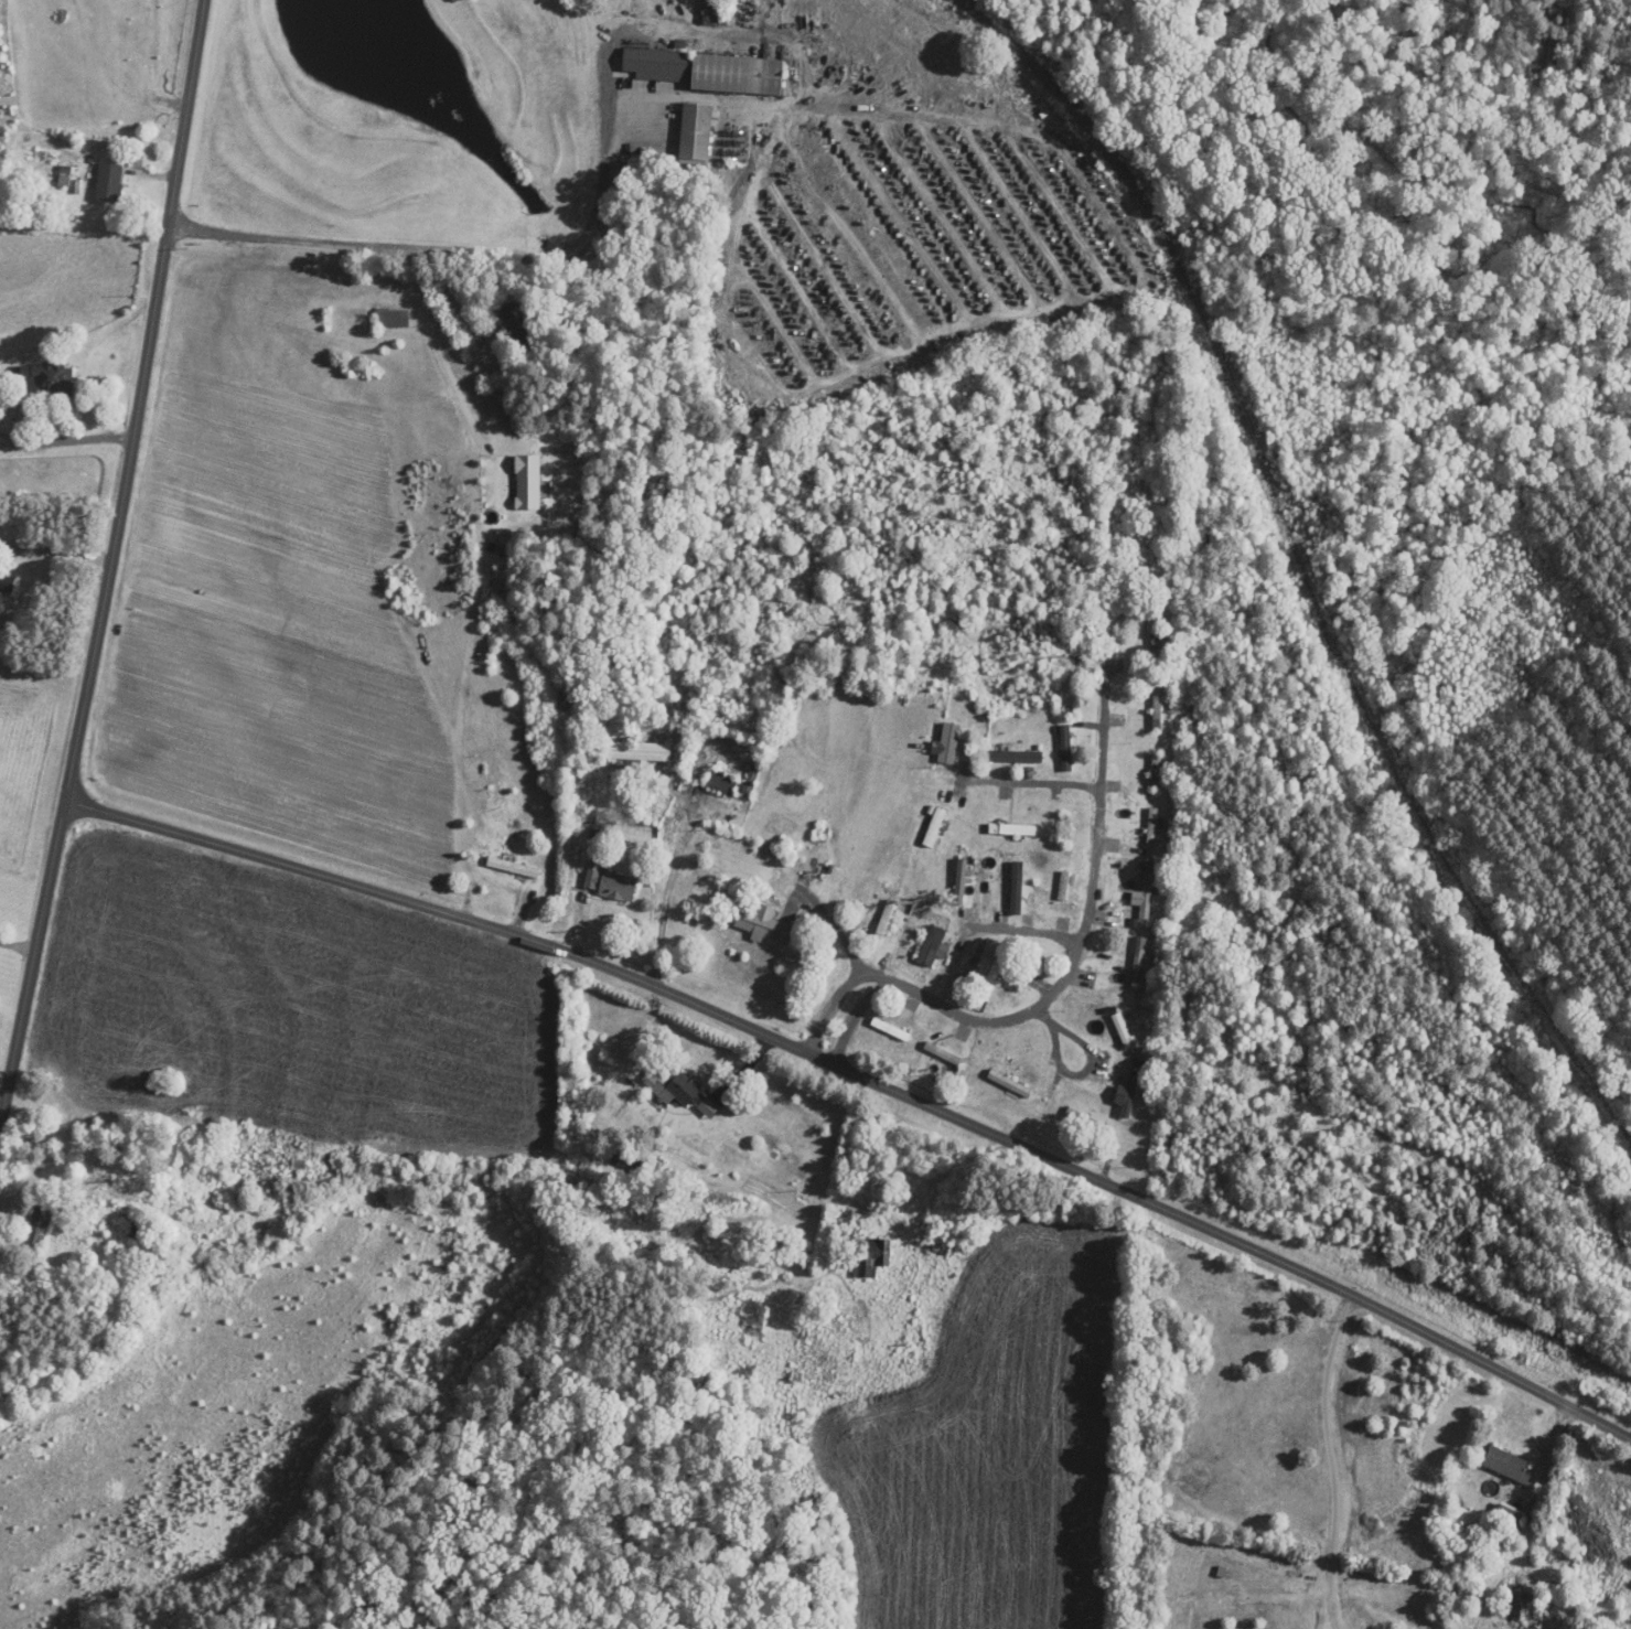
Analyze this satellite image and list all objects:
building: (715, 12)
road: (153, 64)
building: (708, 72)
building: (697, 133)
building: (109, 184)
road: (482, 251)
road: (451, 293)
building: (517, 324)
road: (438, 346)
building: (46, 379)
road: (76, 437)
road: (32, 440)
building: (527, 482)
road: (112, 566)
building: (7, 583)
building: (1158, 710)
building: (949, 744)
building: (637, 752)
building: (1016, 757)
building: (1156, 772)
building: (752, 780)
building: (722, 783)
building: (1152, 827)
building: (1066, 832)
building: (813, 864)
building: (514, 867)
building: (962, 879)
building: (612, 885)
building: (1064, 886)
building: (1016, 891)
road: (666, 896)
building: (1147, 900)
building: (886, 922)
building: (765, 925)
road: (1085, 925)
building: (1139, 961)
road: (880, 976)
building: (992, 978)
building: (891, 1029)
building: (1124, 1031)
building: (944, 1054)
road: (867, 1079)
building: (1010, 1084)
building: (679, 1090)
building: (1130, 1094)
building: (1088, 1121)
road: (0, 1123)
building: (781, 1148)
building: (39, 1226)
building: (871, 1256)
road: (1333, 1462)
building: (1507, 1464)
building: (1510, 1515)
building: (1523, 1607)

